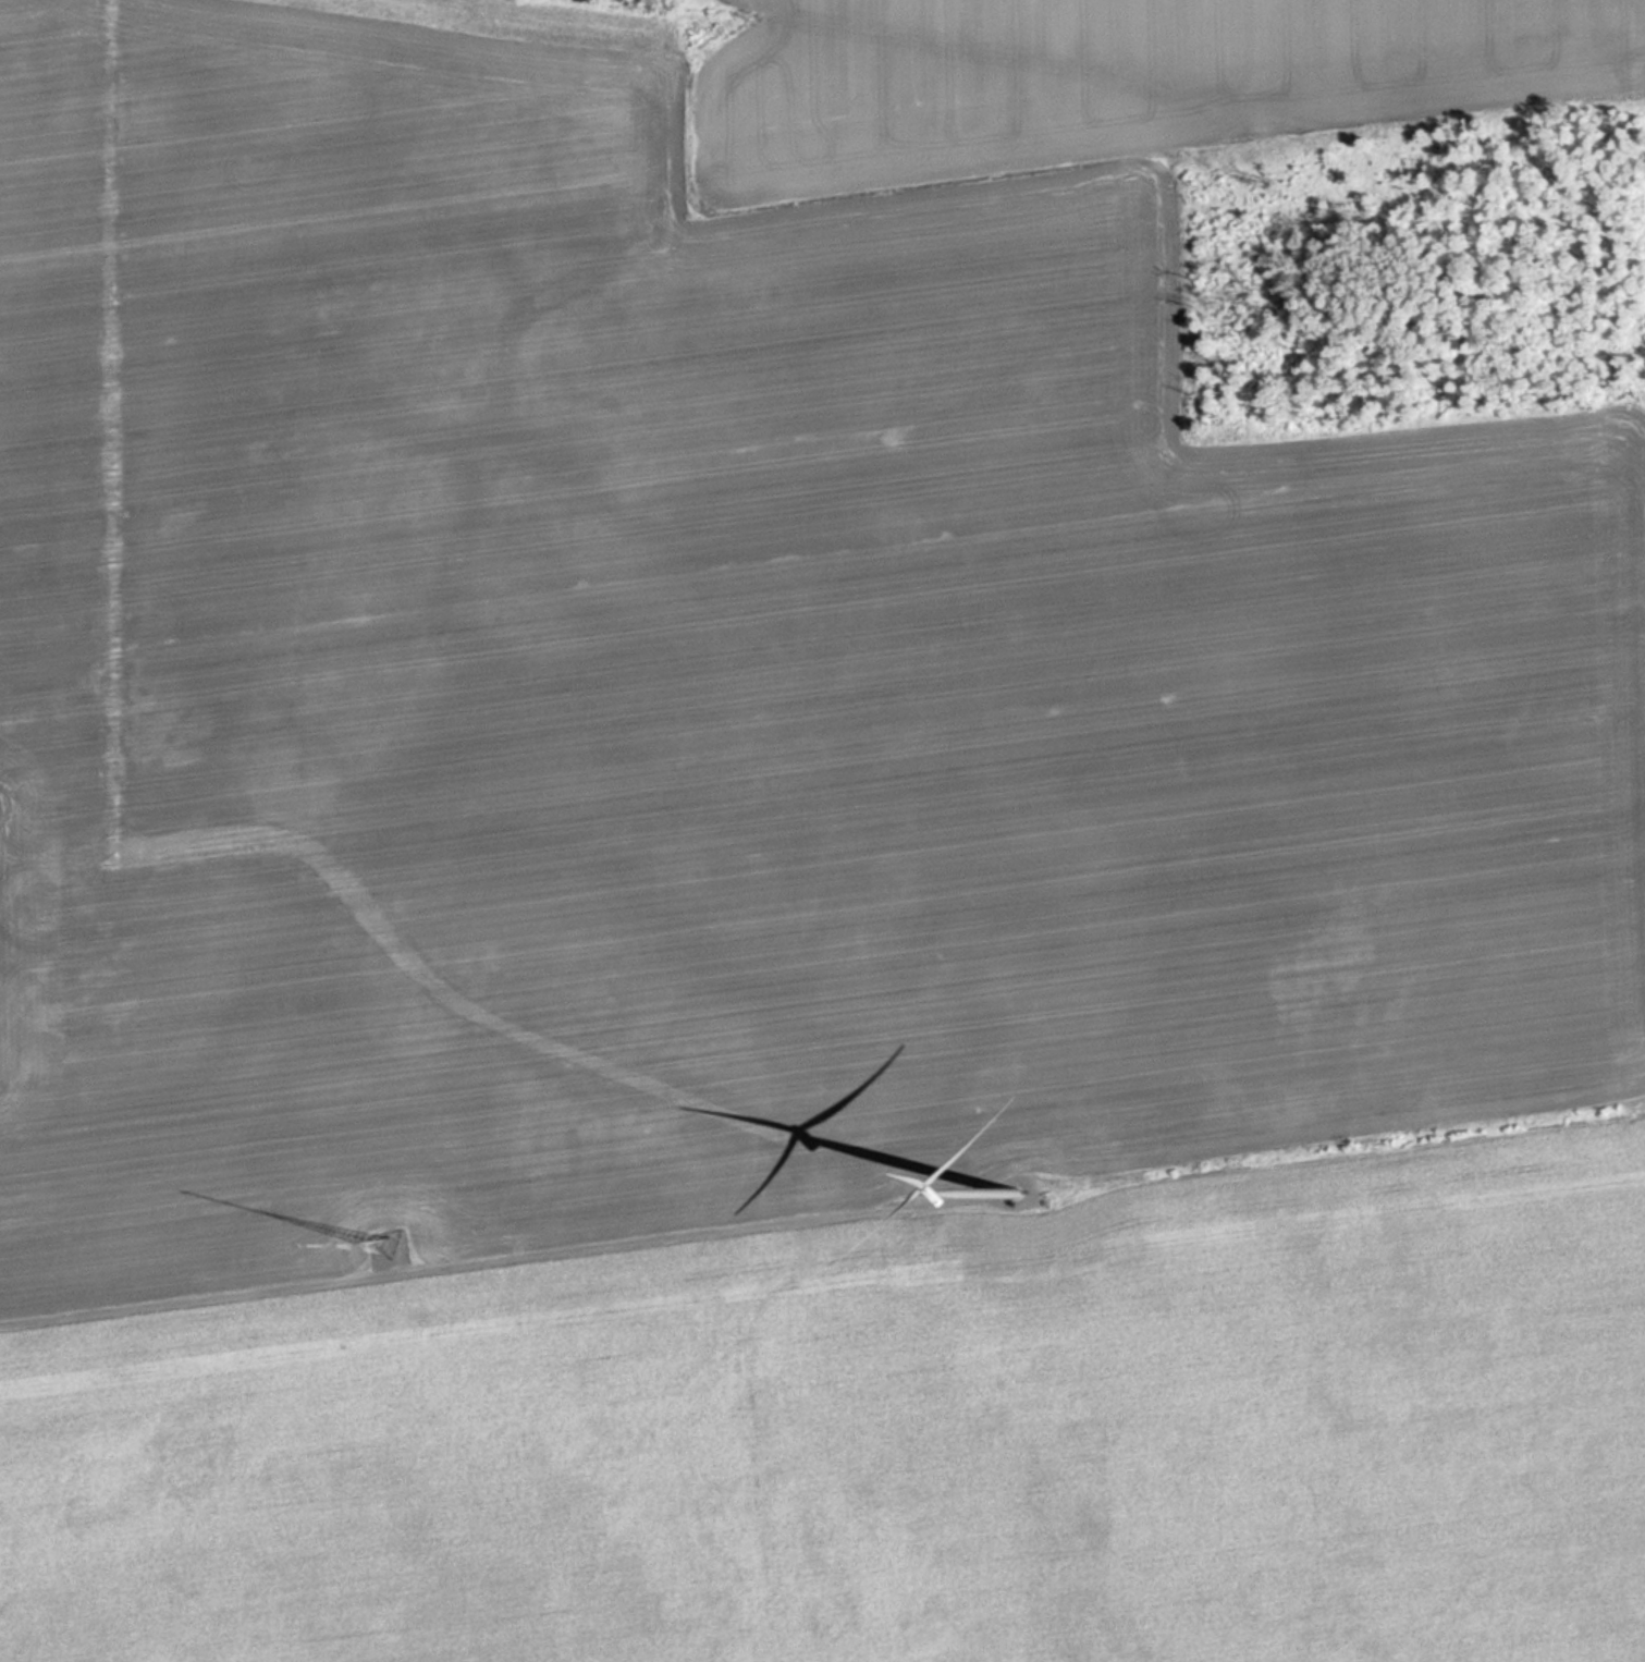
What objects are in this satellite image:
wind turbine: (1018, 1191)

